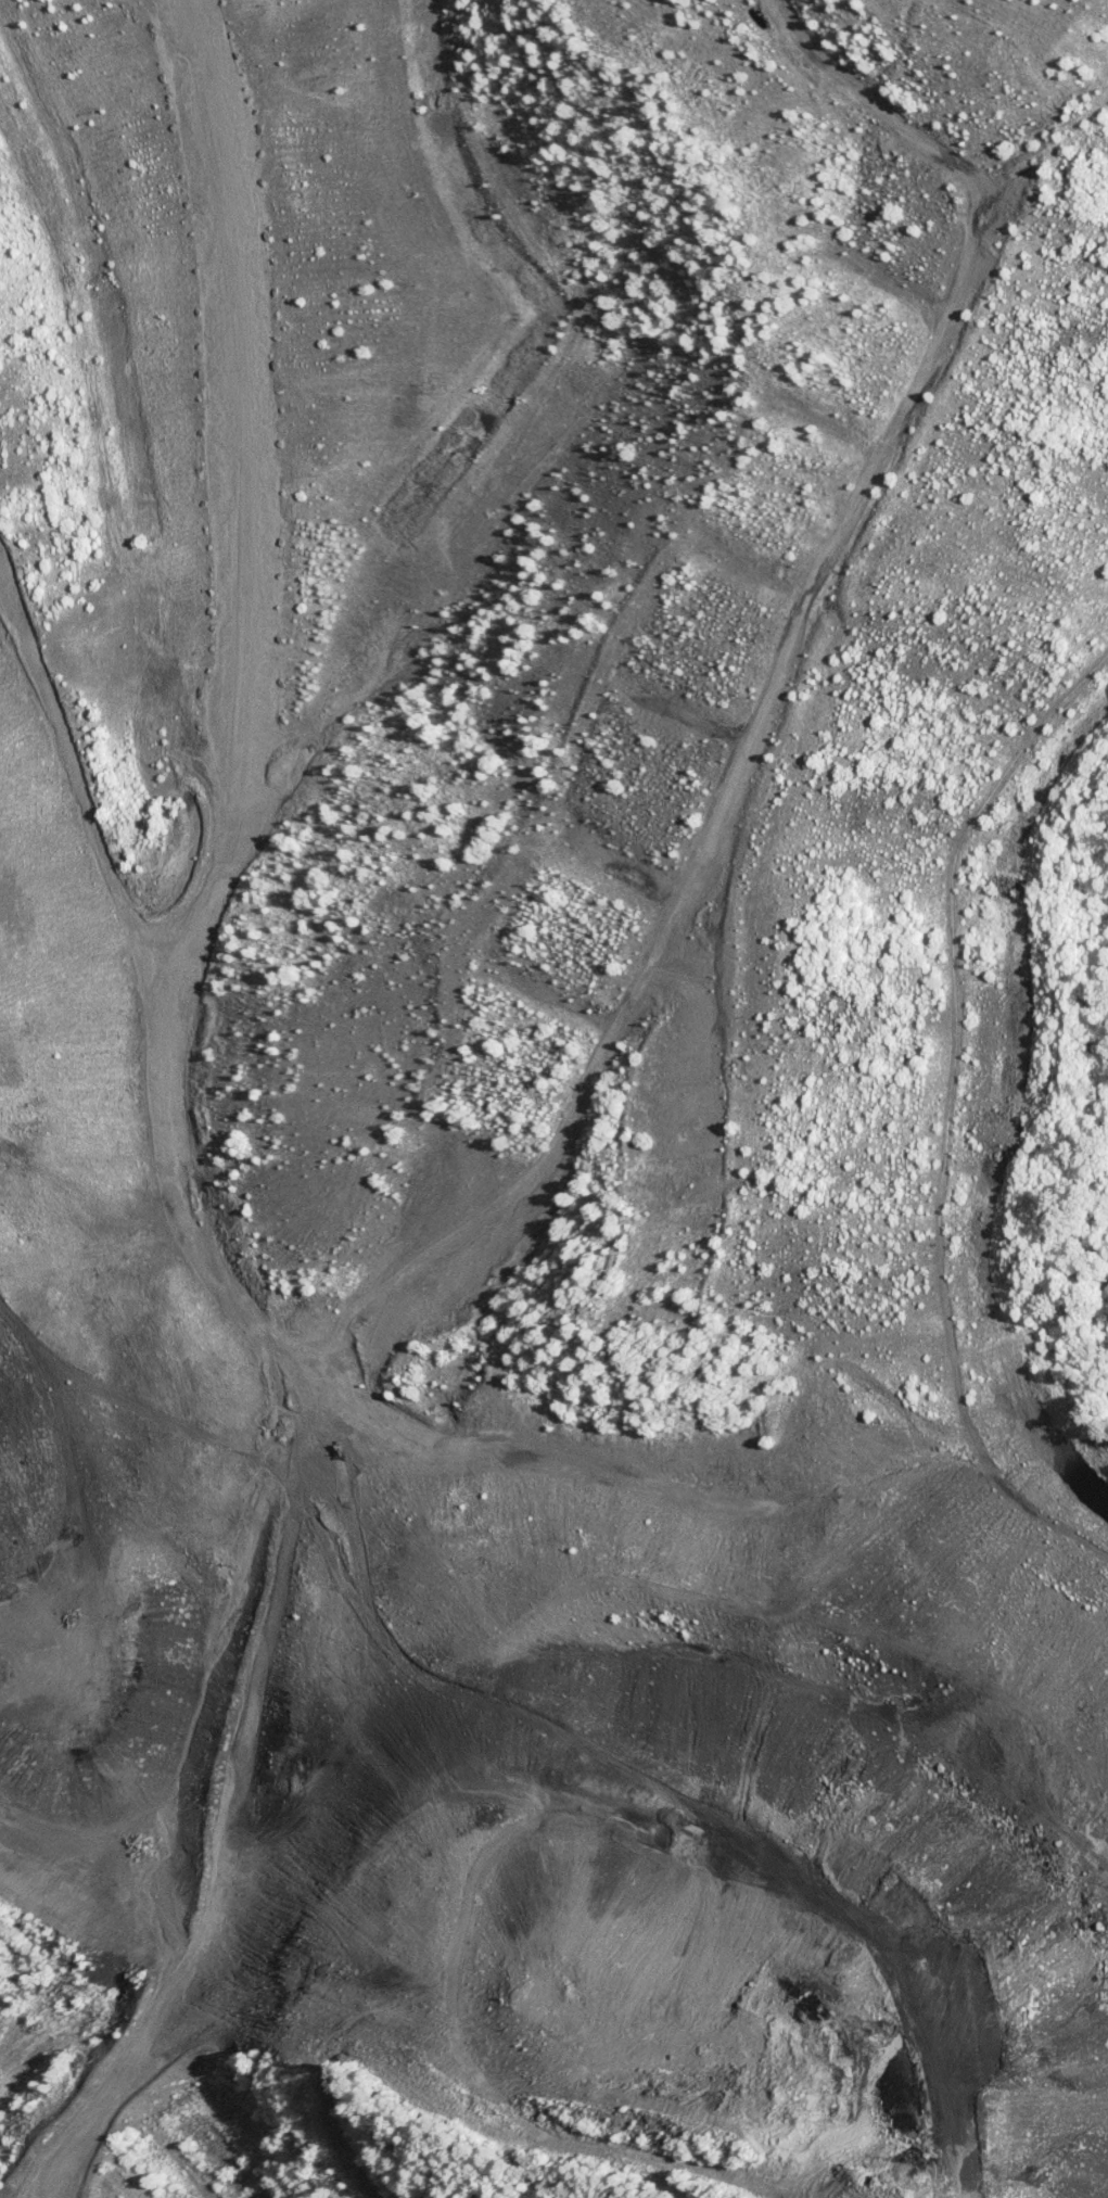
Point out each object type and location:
quarry: (544, 1109)

